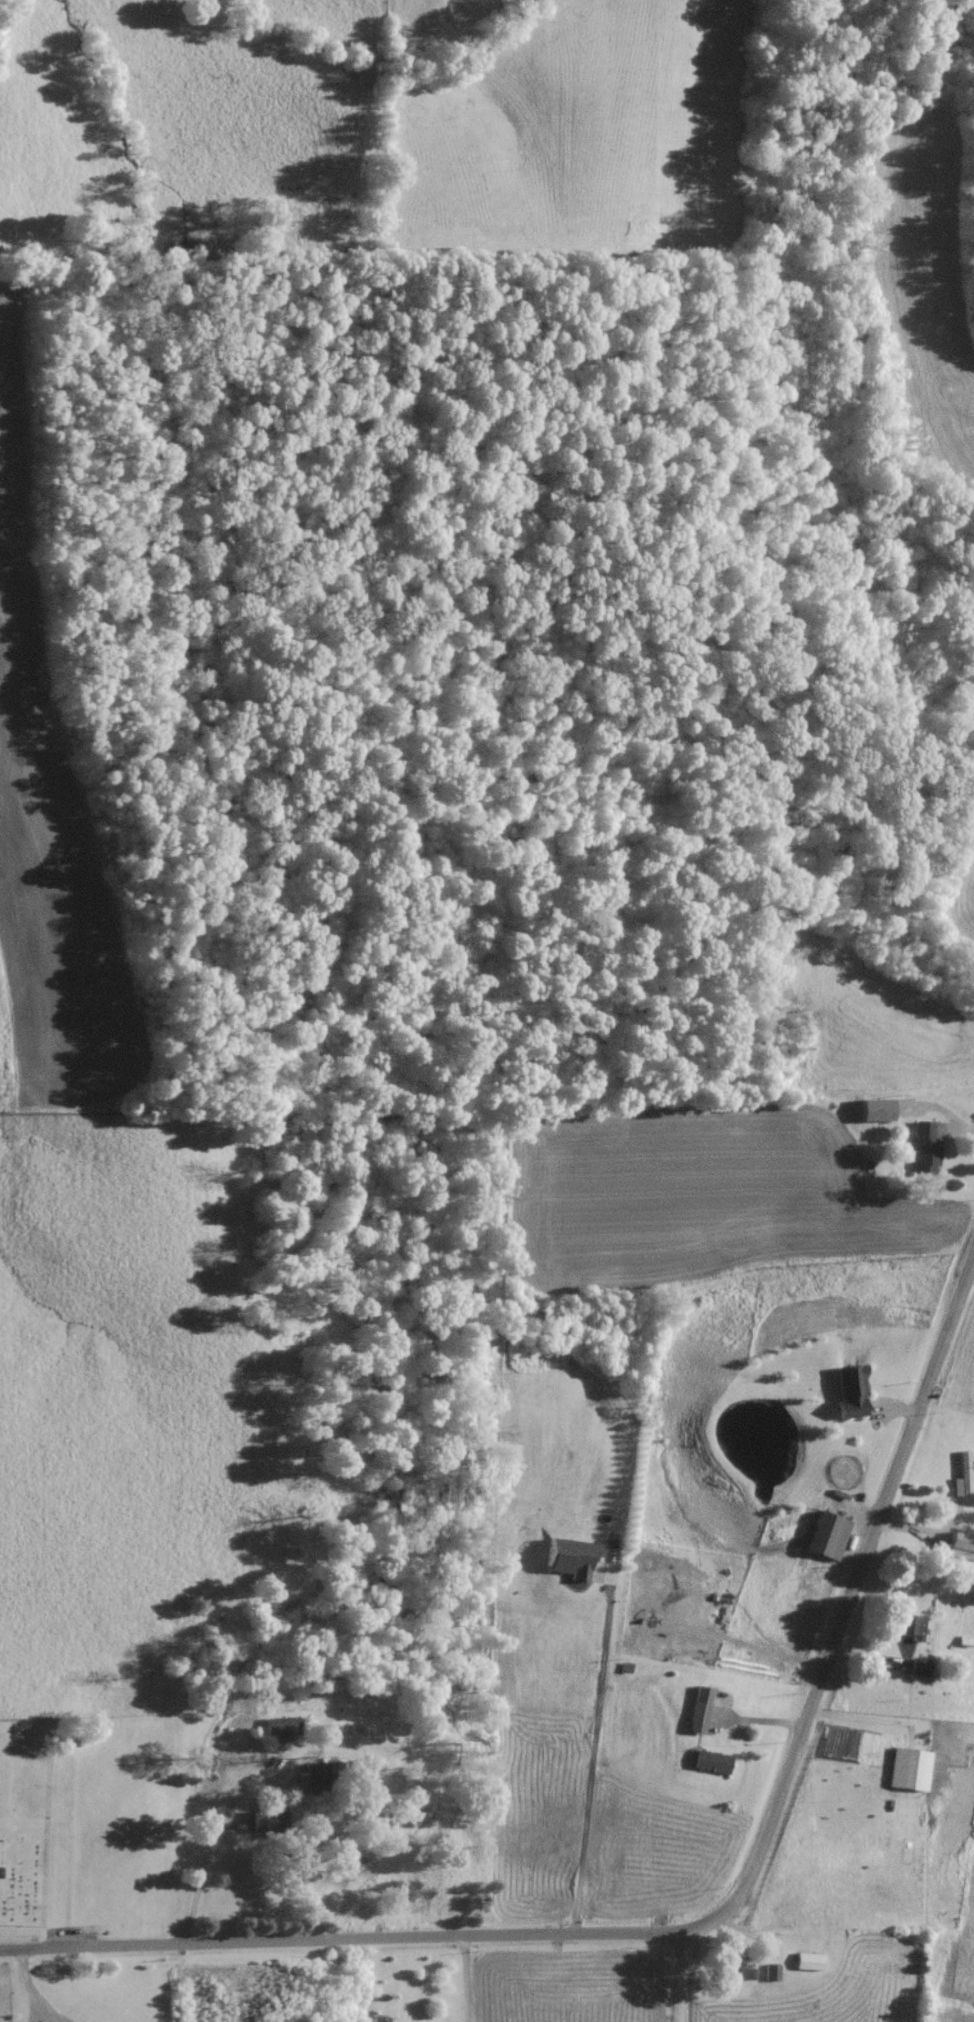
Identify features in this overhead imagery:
building: (922, 1152)
building: (847, 1397)
building: (960, 1481)
building: (824, 1540)
building: (958, 1550)
road: (847, 1600)
building: (658, 1606)
building: (905, 1630)
building: (964, 1647)
building: (917, 1672)
building: (697, 1715)
road: (857, 1720)
road: (594, 1752)
building: (709, 1768)
building: (906, 1774)
park: (23, 1824)
road: (204, 1857)
road: (341, 1930)
building: (805, 1967)
road: (682, 1971)
road: (463, 1974)
building: (769, 1978)

